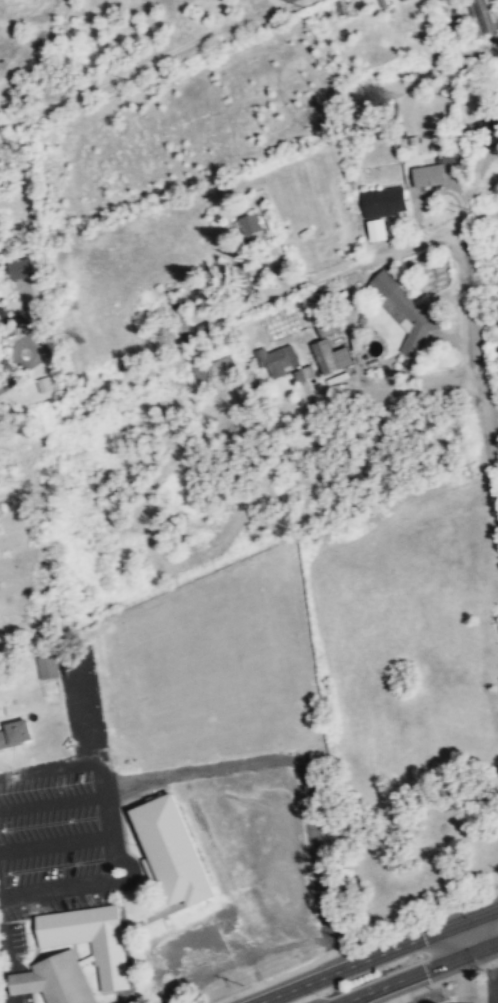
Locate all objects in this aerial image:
building: (485, 15)
quarry: (37, 24)
road: (120, 72)
building: (429, 176)
road: (470, 185)
building: (384, 203)
building: (249, 224)
road: (412, 241)
building: (22, 267)
building: (317, 297)
building: (405, 311)
building: (177, 320)
building: (335, 355)
road: (357, 357)
road: (478, 361)
building: (283, 364)
building: (217, 374)
road: (396, 390)
building: (14, 733)
road: (96, 751)
road: (271, 758)
road: (101, 770)
road: (53, 802)
road: (55, 842)
building: (170, 850)
road: (126, 881)
road: (55, 884)
building: (90, 940)
road: (375, 955)
road: (6, 962)
road: (419, 972)
building: (54, 979)
road: (463, 979)

